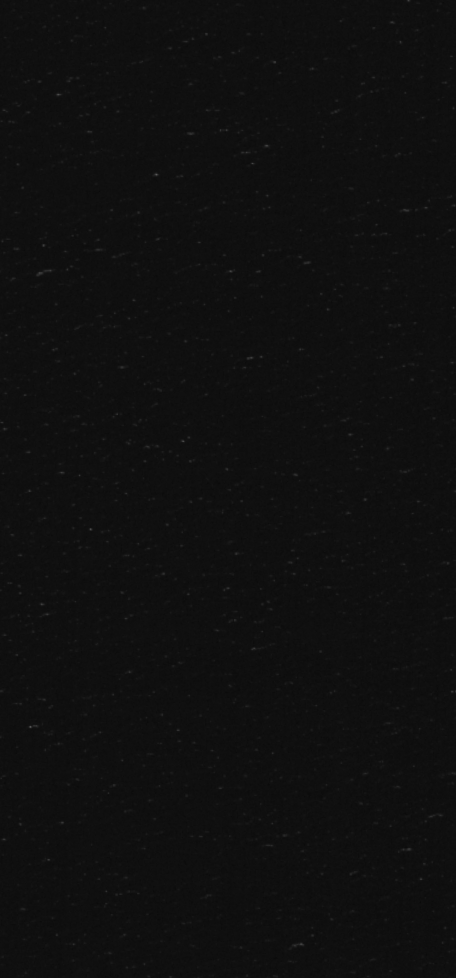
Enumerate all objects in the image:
river: (228, 557)

